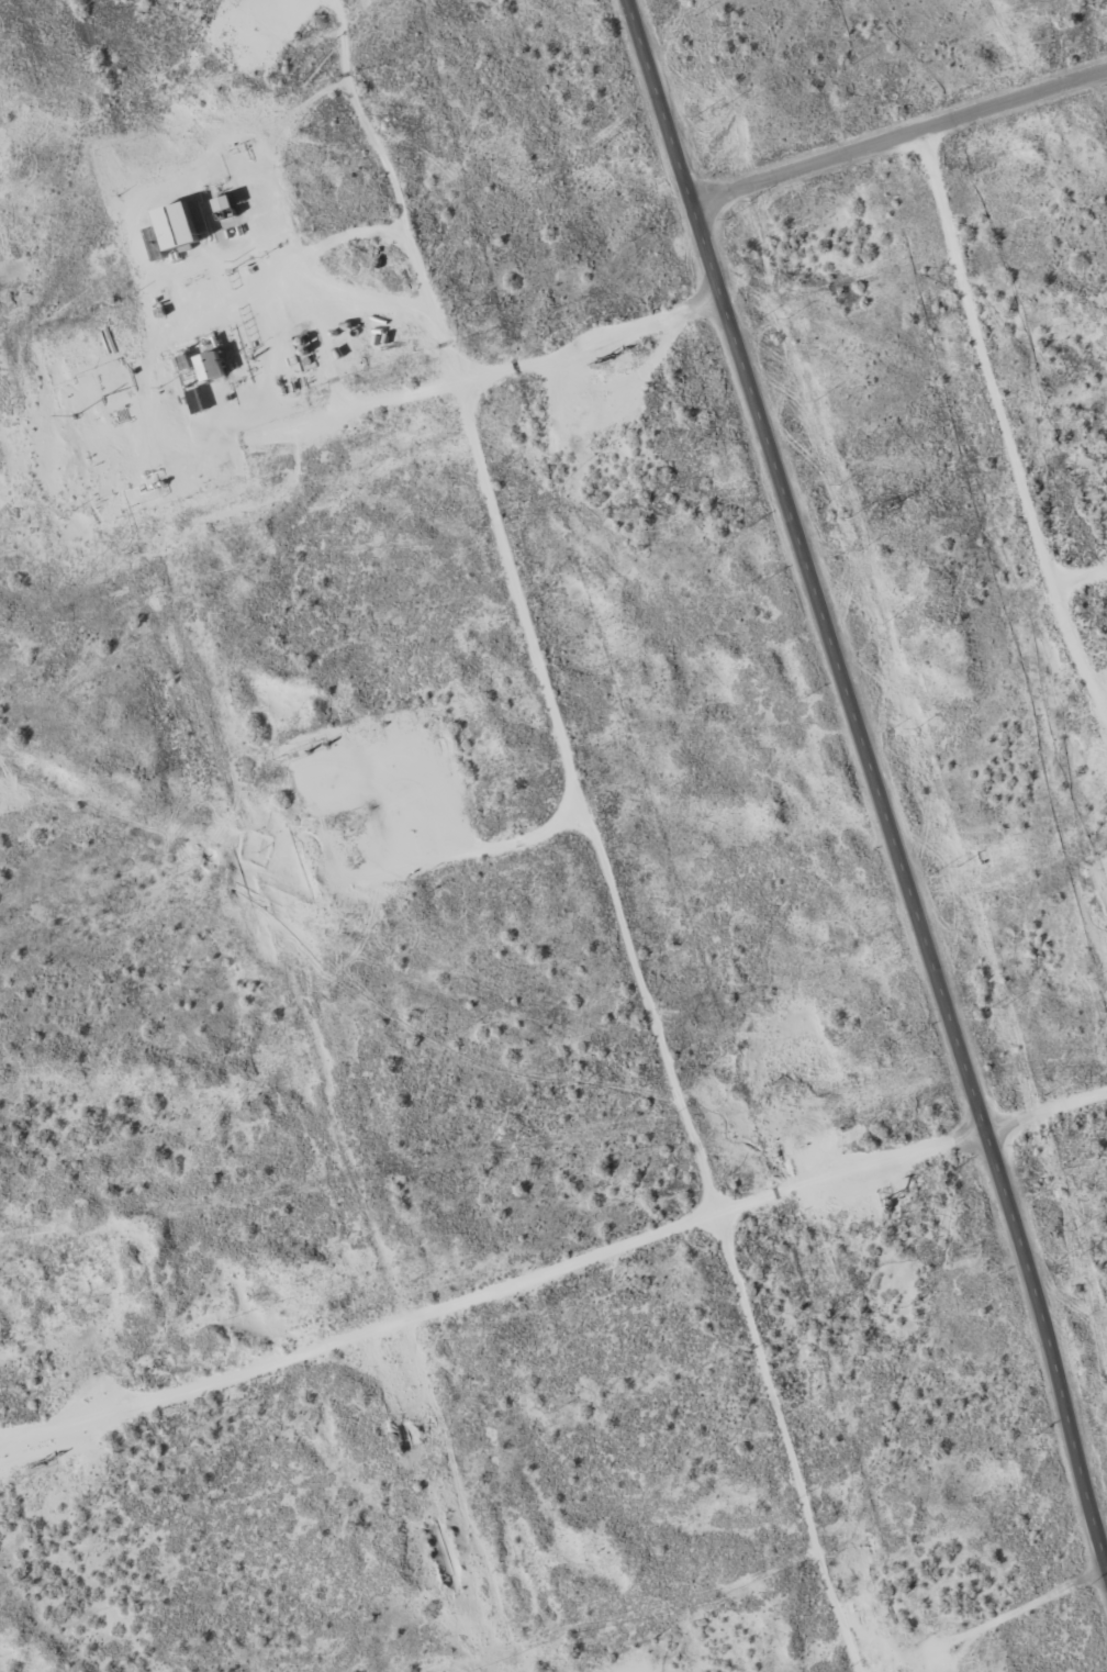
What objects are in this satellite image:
road: (1011, 98)
road: (804, 166)
building: (221, 203)
building: (172, 226)
building: (206, 367)
road: (1010, 446)
road: (1104, 743)
road: (876, 772)
road: (615, 834)
road: (557, 1303)

